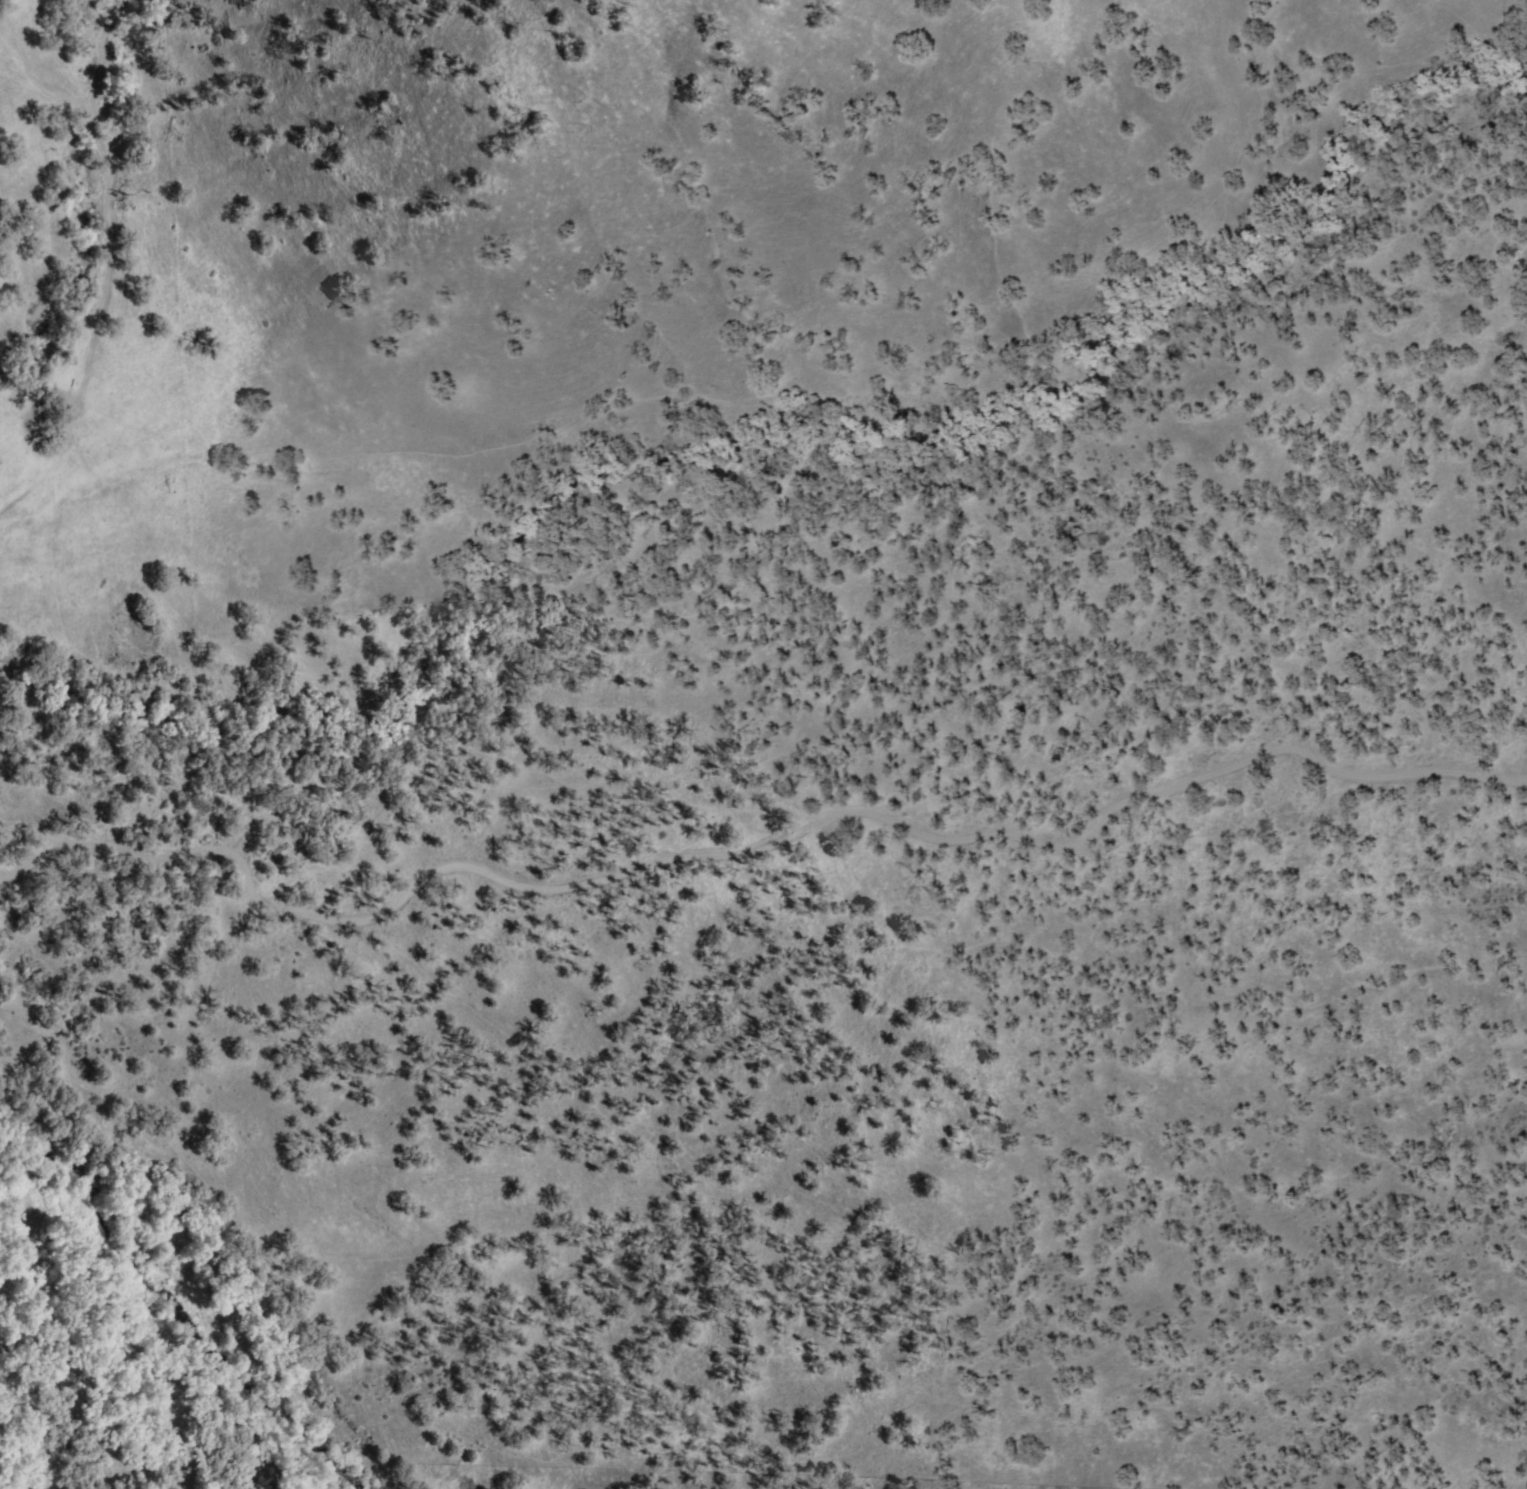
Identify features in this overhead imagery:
river: (184, 1311)

